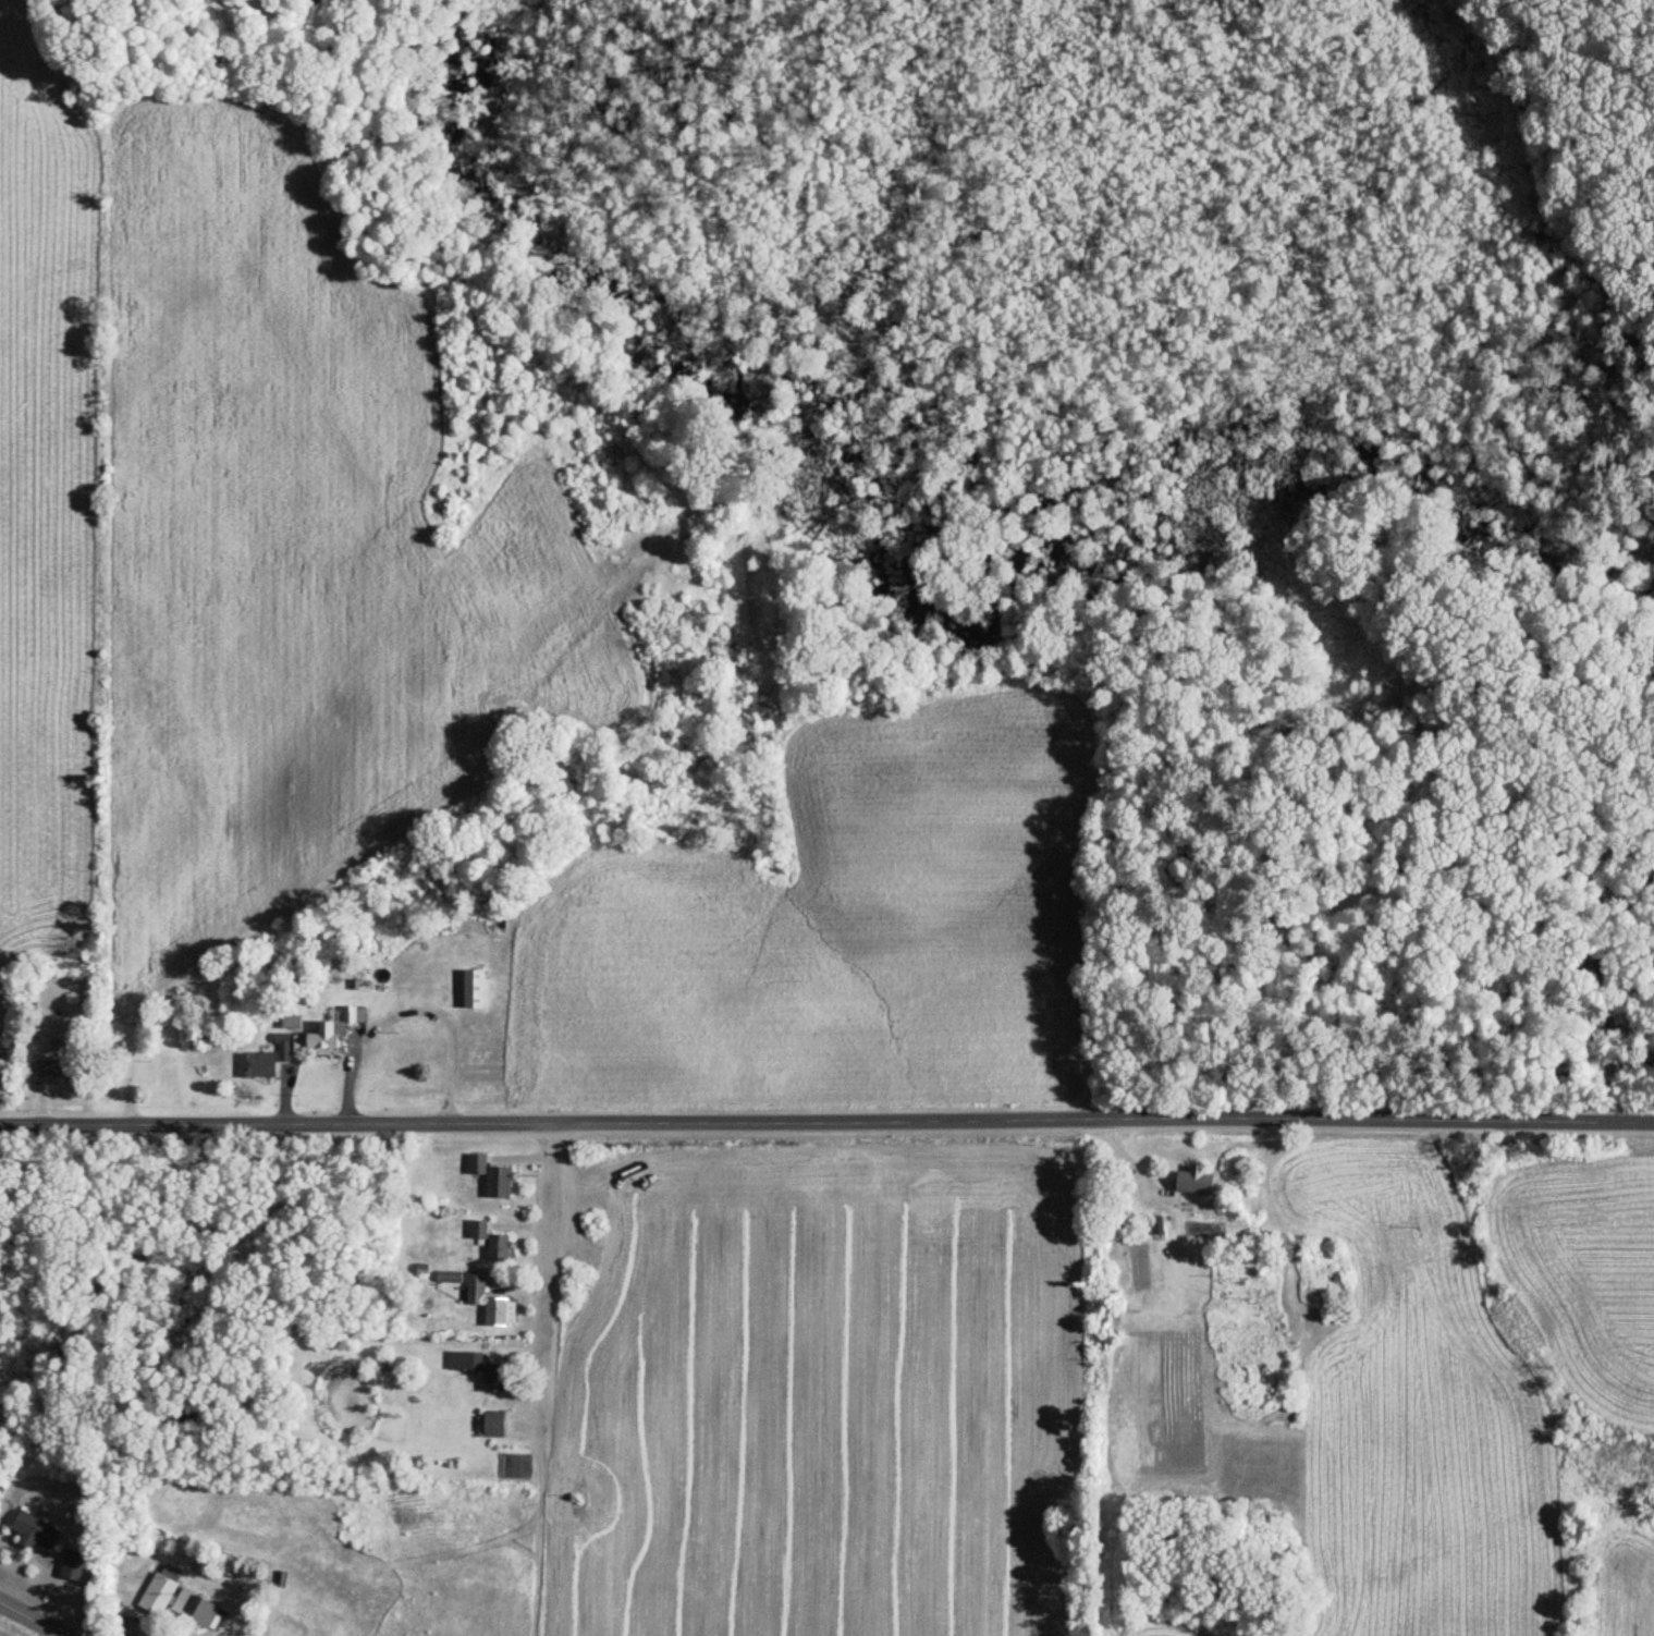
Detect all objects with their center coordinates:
building: (425, 978)
building: (471, 990)
building: (323, 1036)
building: (53, 1053)
building: (262, 1061)
road: (826, 1120)
building: (490, 1177)
building: (1191, 1182)
road: (540, 1275)
building: (493, 1314)
building: (461, 1362)
building: (491, 1378)
building: (491, 1425)
building: (32, 1533)
building: (70, 1565)
building: (157, 1589)
building: (192, 1609)
road: (34, 1619)

